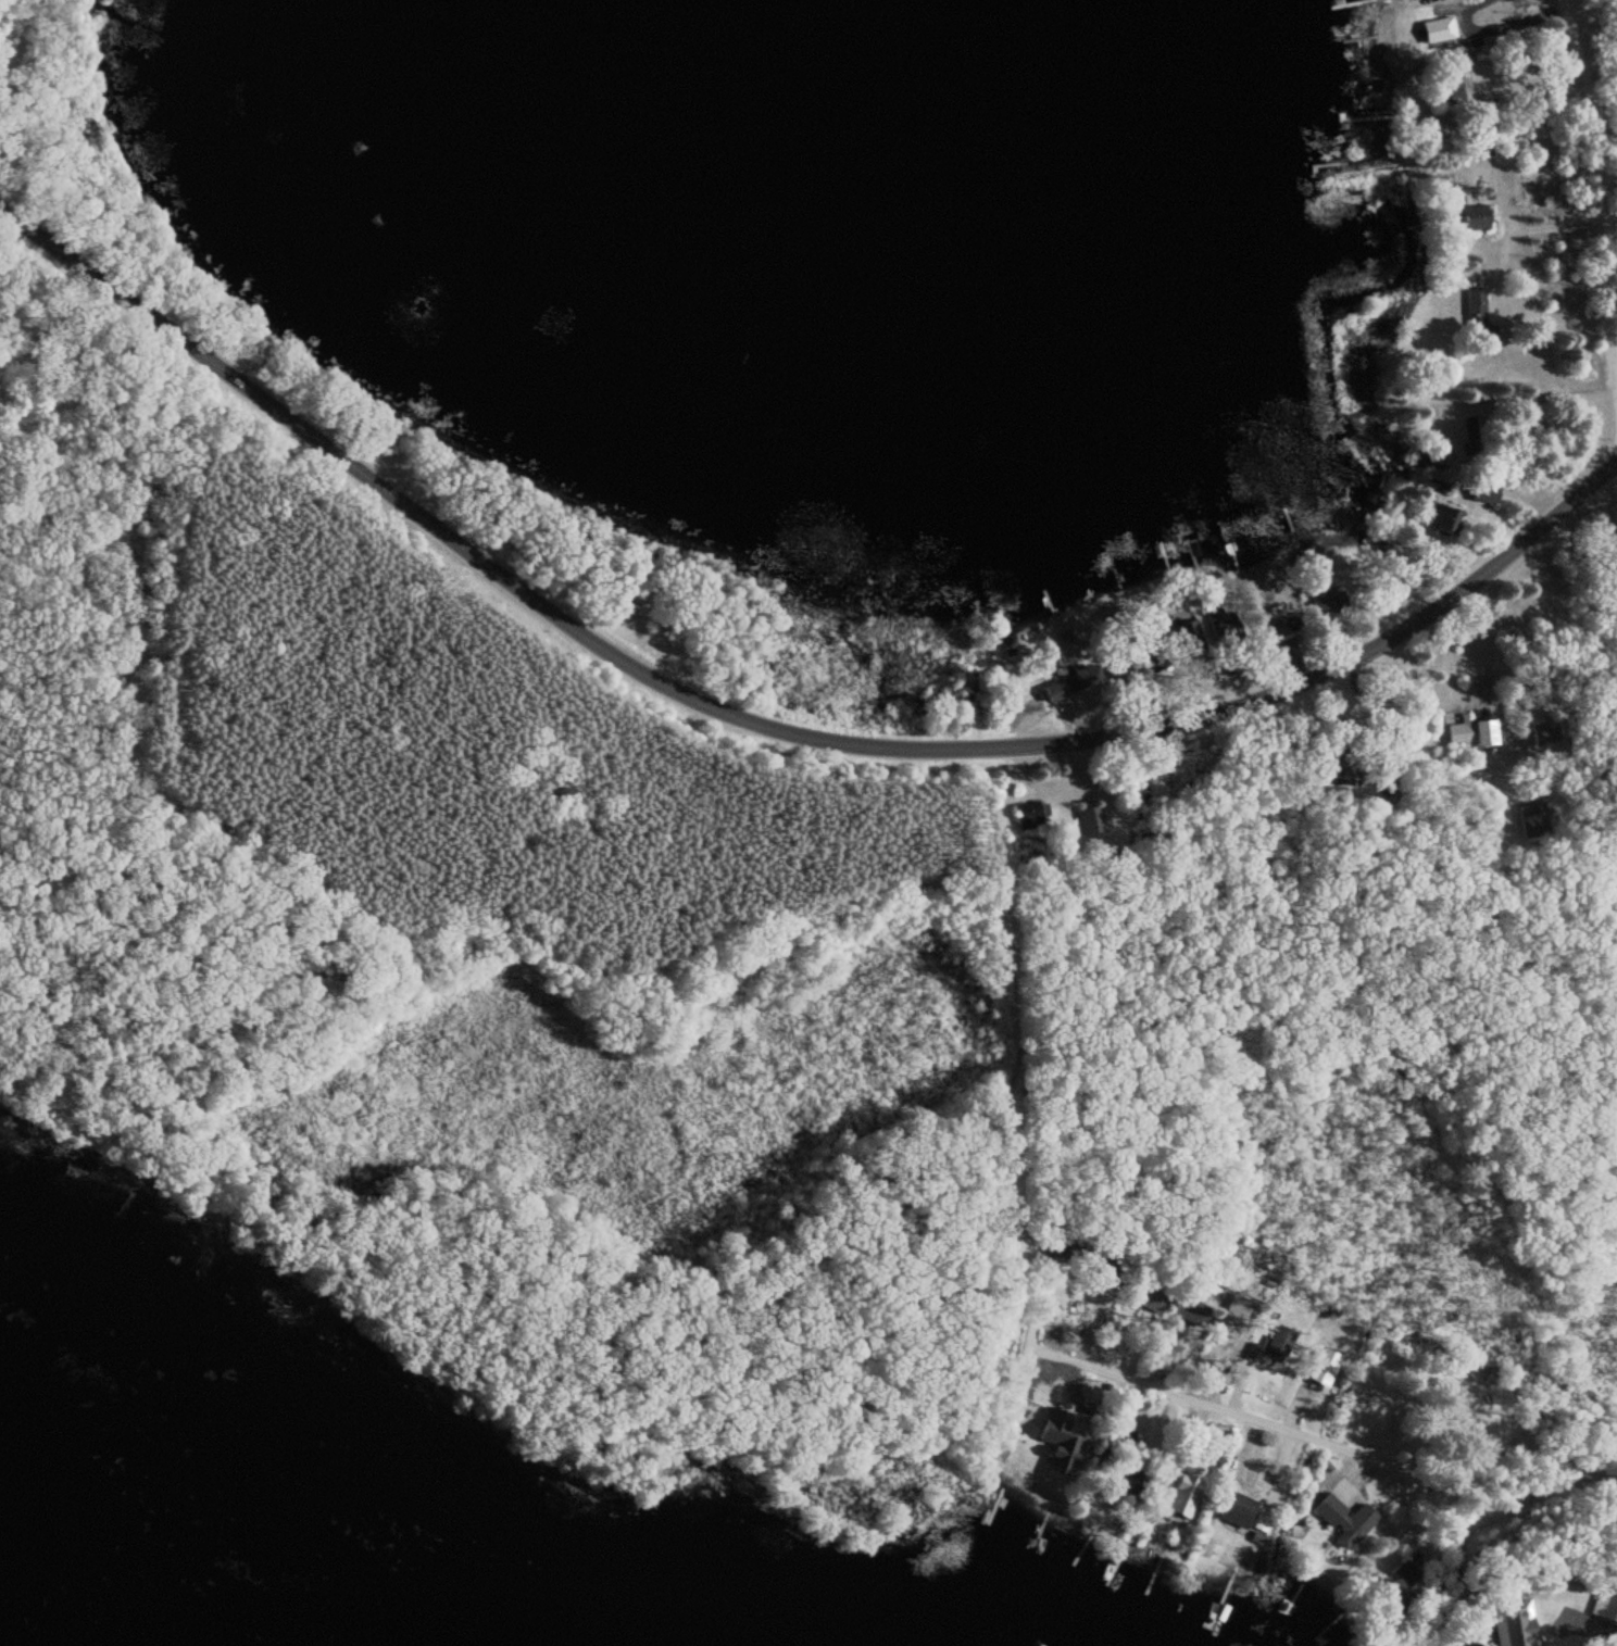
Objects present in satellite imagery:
building: (1403, 0)
building: (1442, 28)
building: (1456, 92)
road: (1588, 160)
building: (1474, 309)
building: (1469, 436)
building: (1483, 492)
building: (1441, 518)
building: (1223, 628)
building: (1079, 678)
road: (768, 698)
building: (1474, 733)
building: (1541, 733)
road: (1534, 753)
building: (1087, 822)
road: (123, 1019)
building: (1277, 1341)
building: (1323, 1367)
road: (1324, 1412)
building: (1236, 1509)
building: (1343, 1520)
building: (1258, 1522)
building: (1400, 1586)
building: (1599, 1605)

